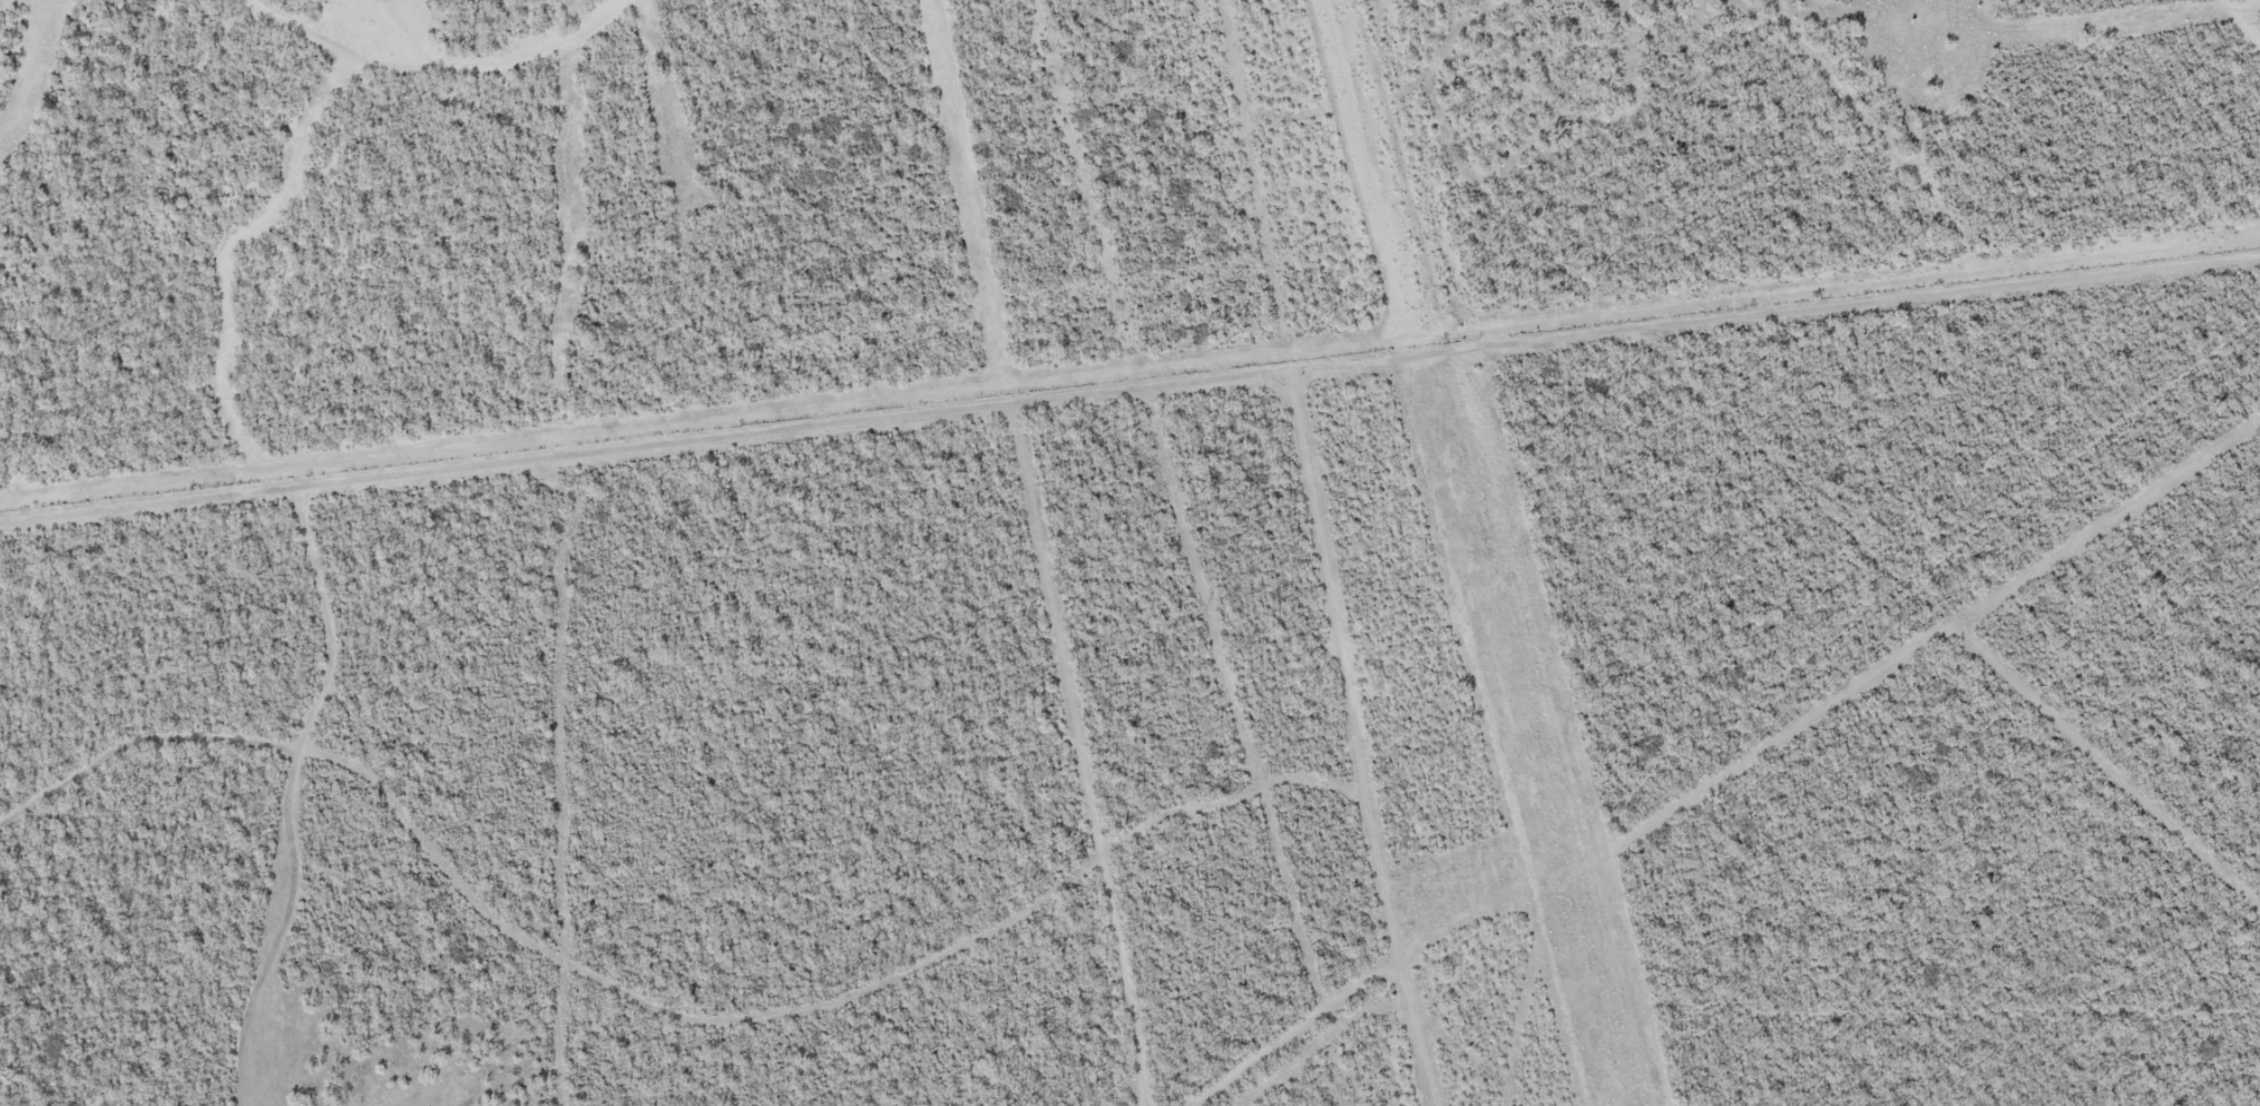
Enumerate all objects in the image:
road: (958, 175)
road: (1284, 1039)

